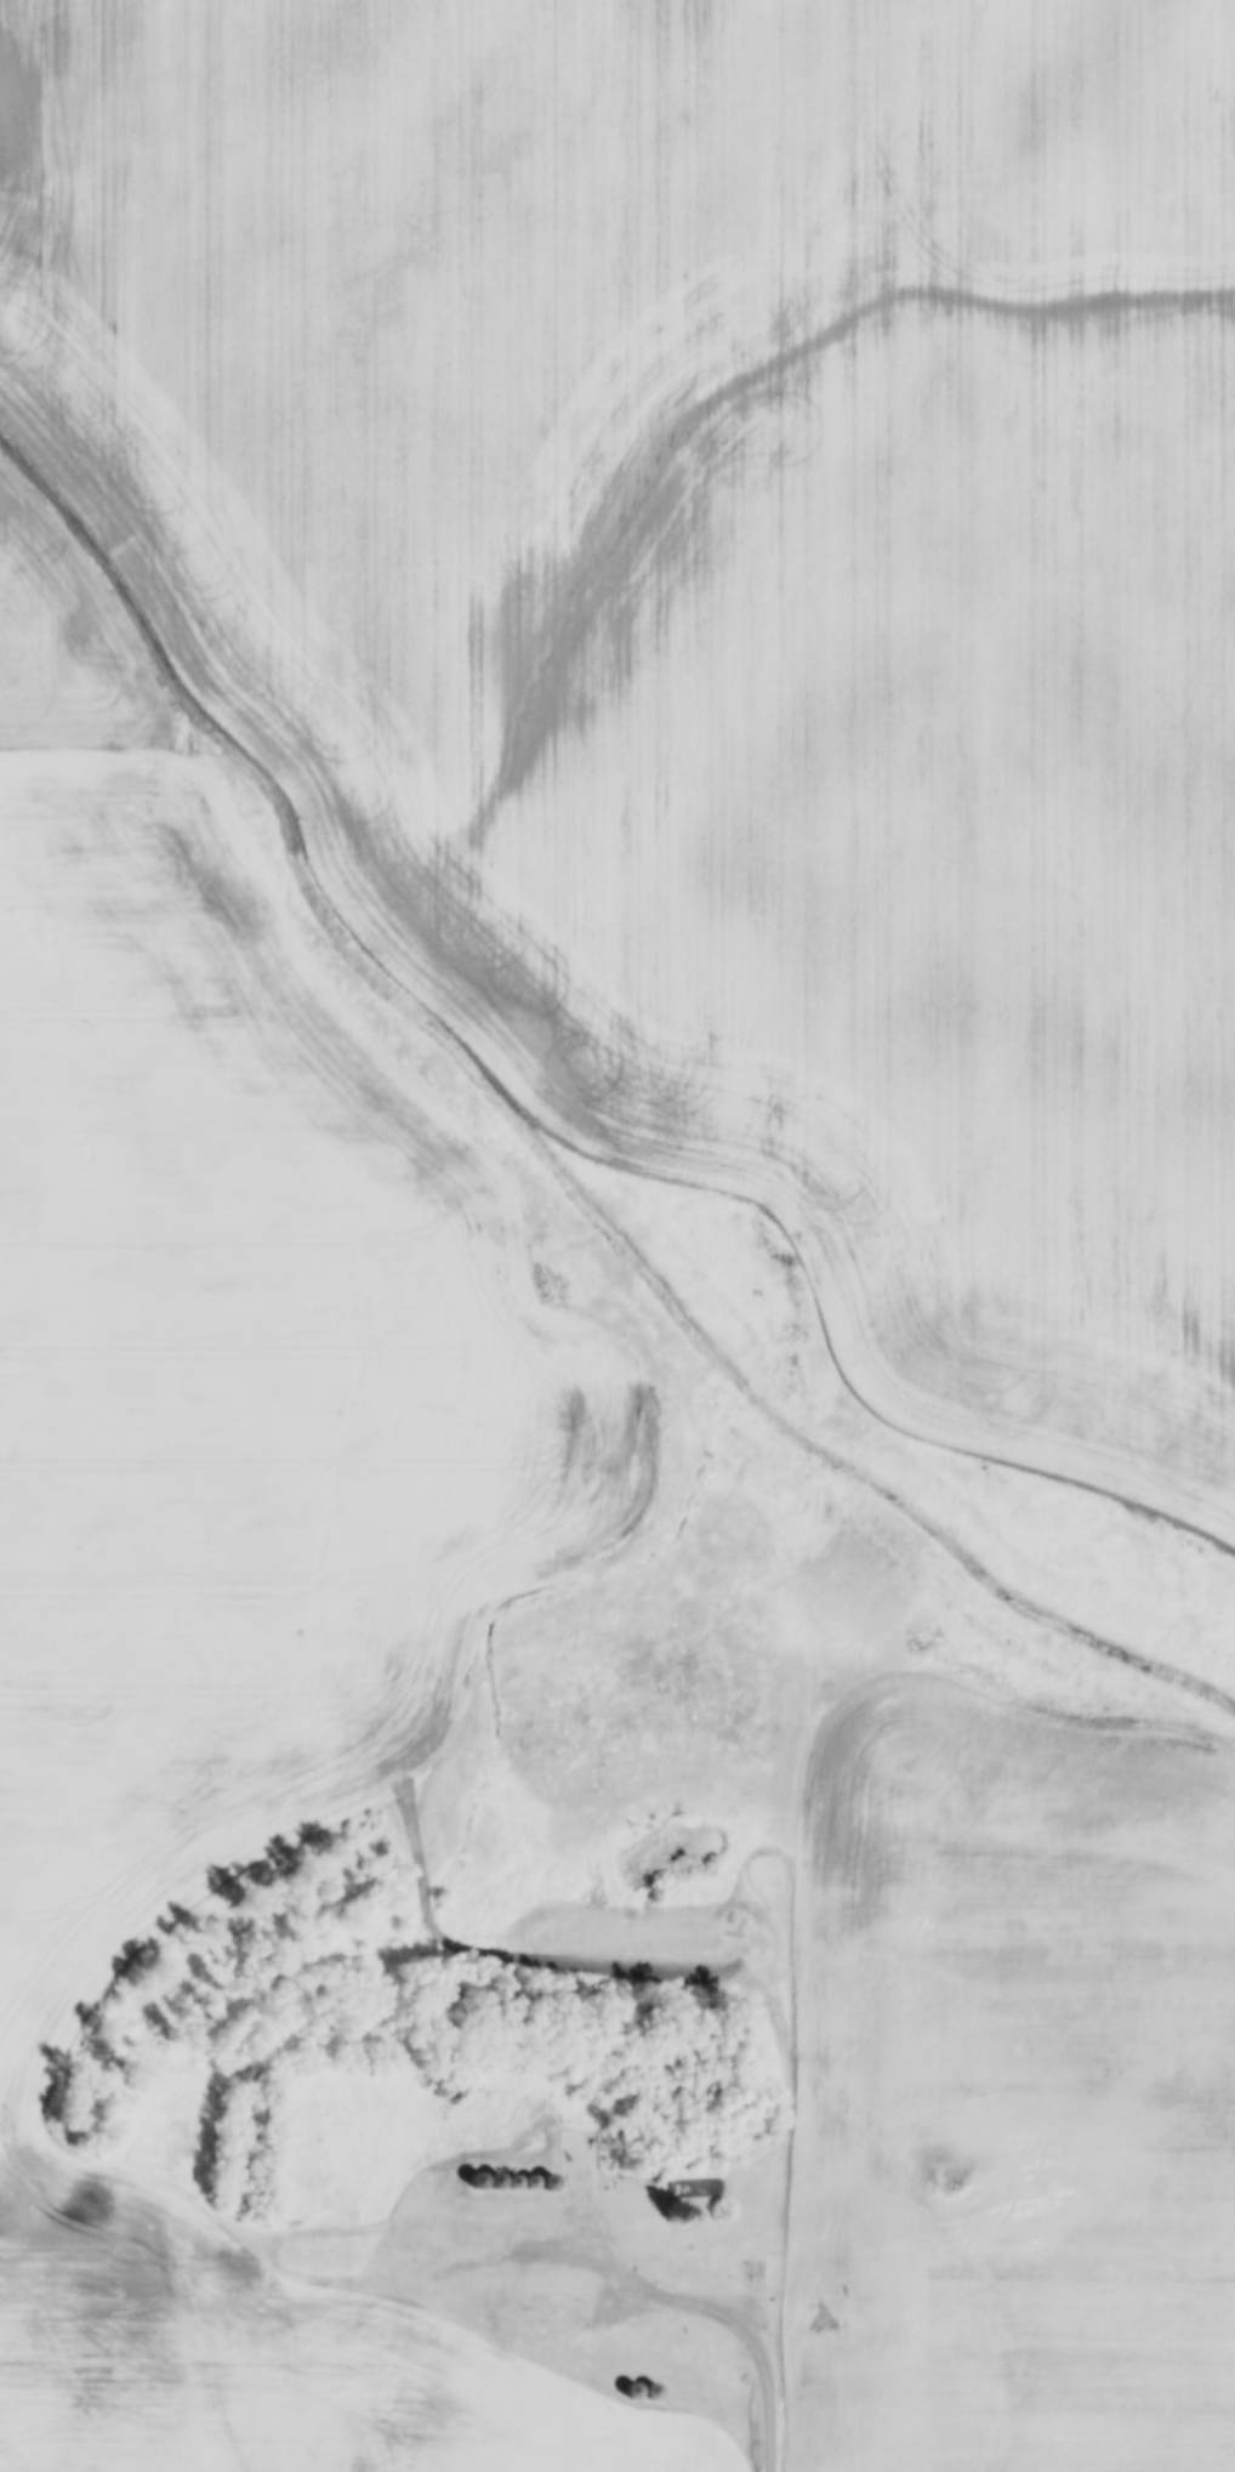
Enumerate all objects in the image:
road: (729, 2311)
road: (284, 2314)

